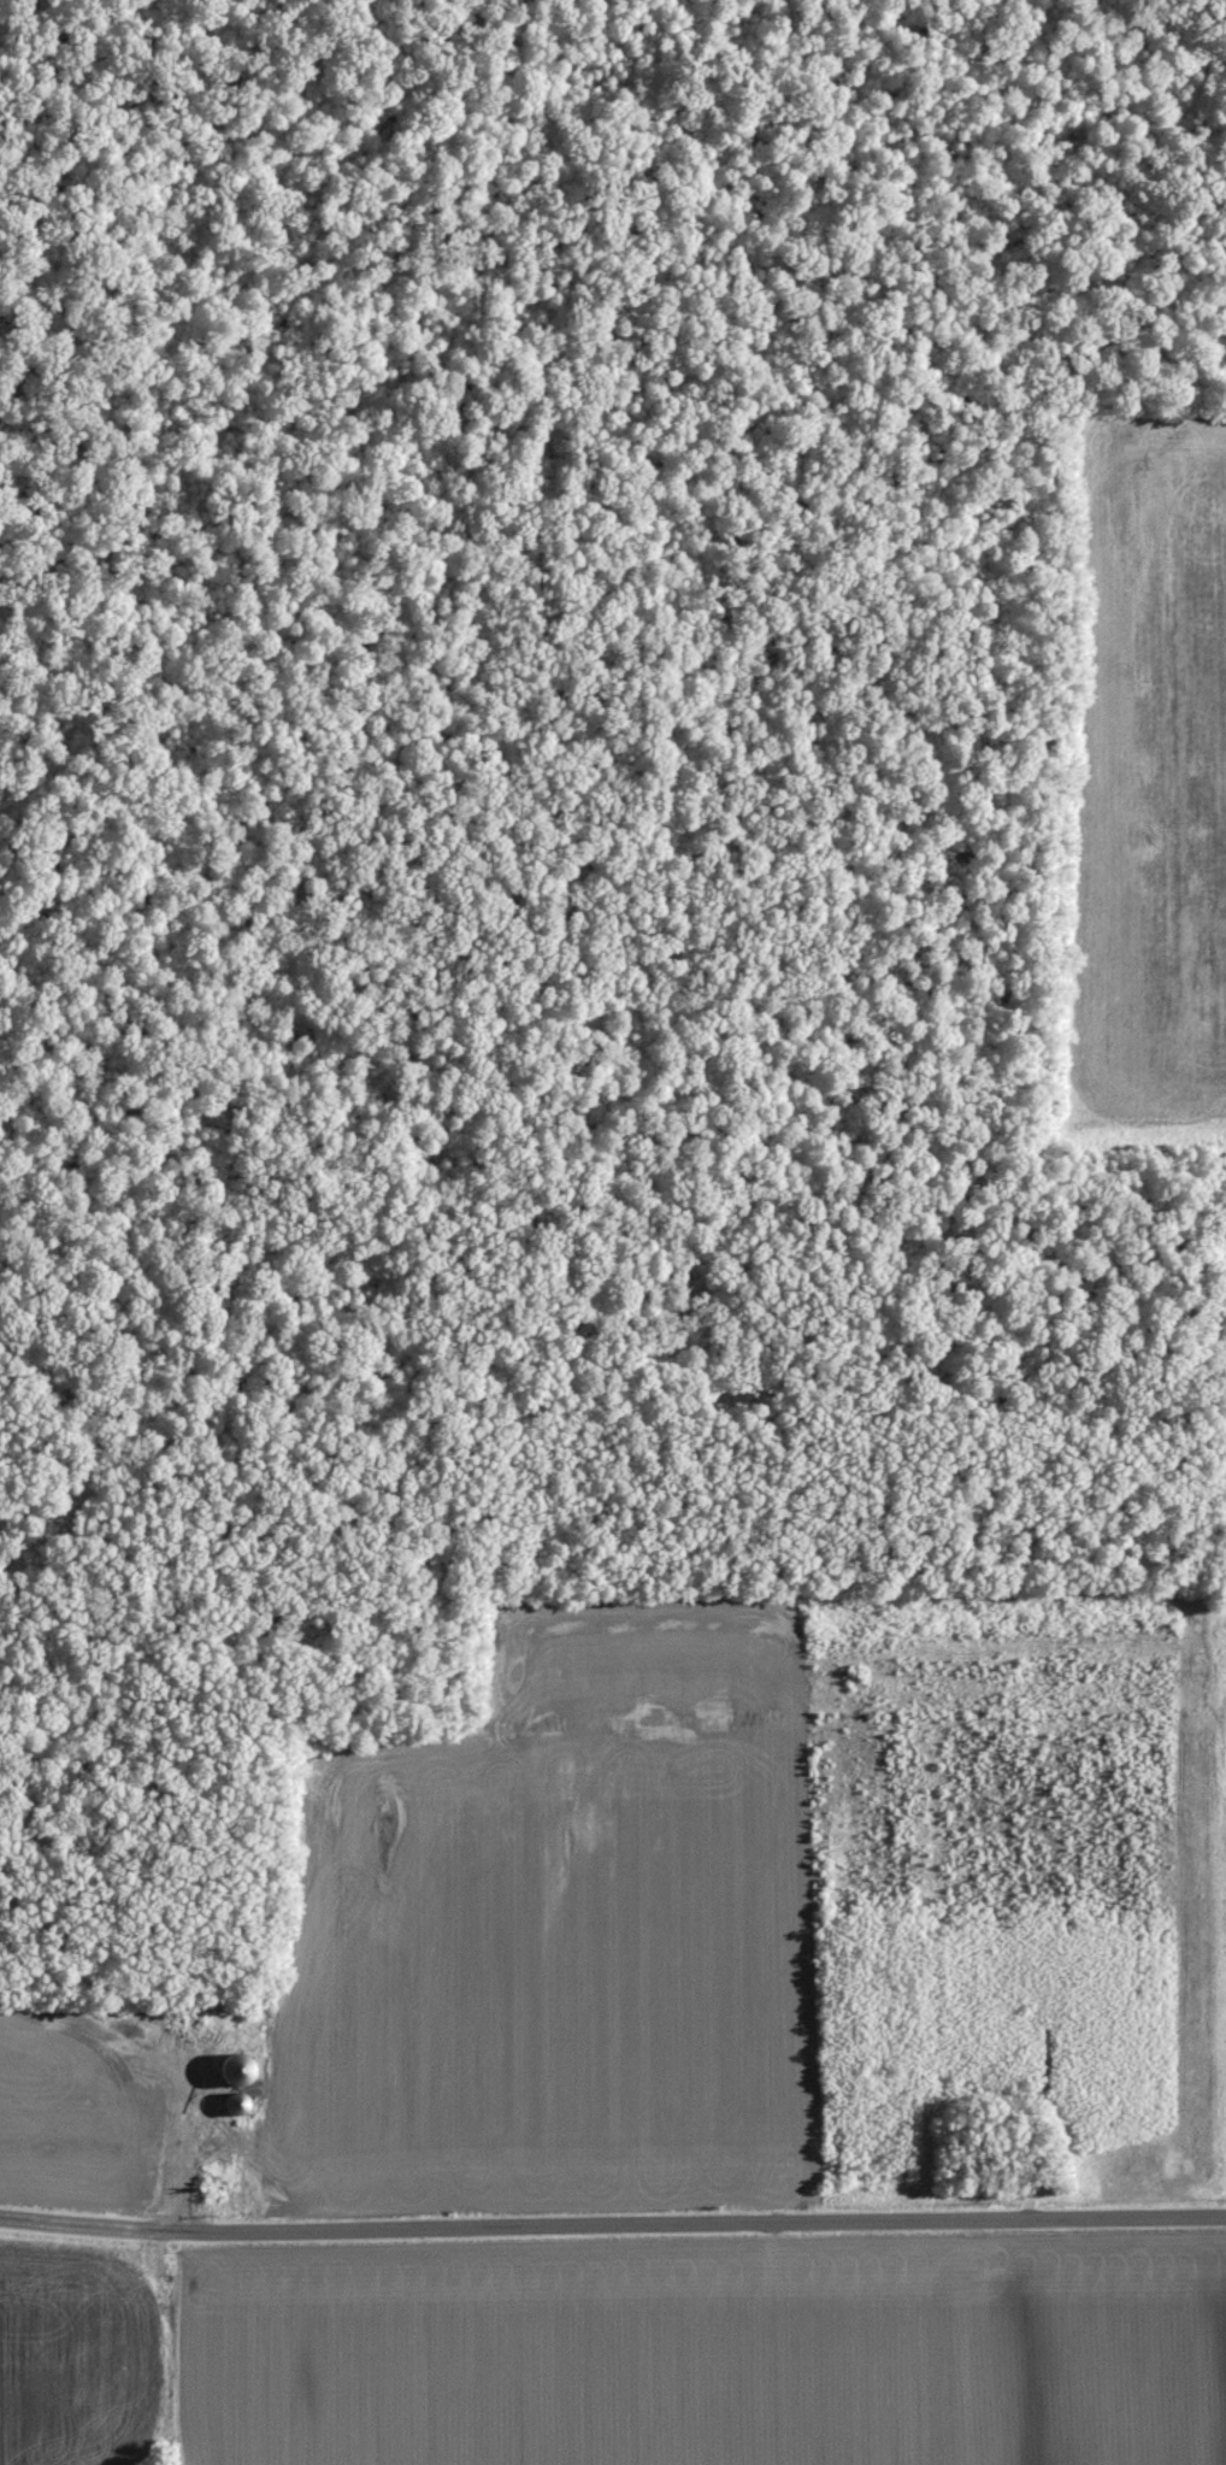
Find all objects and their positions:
road: (191, 2153)
road: (612, 2223)

